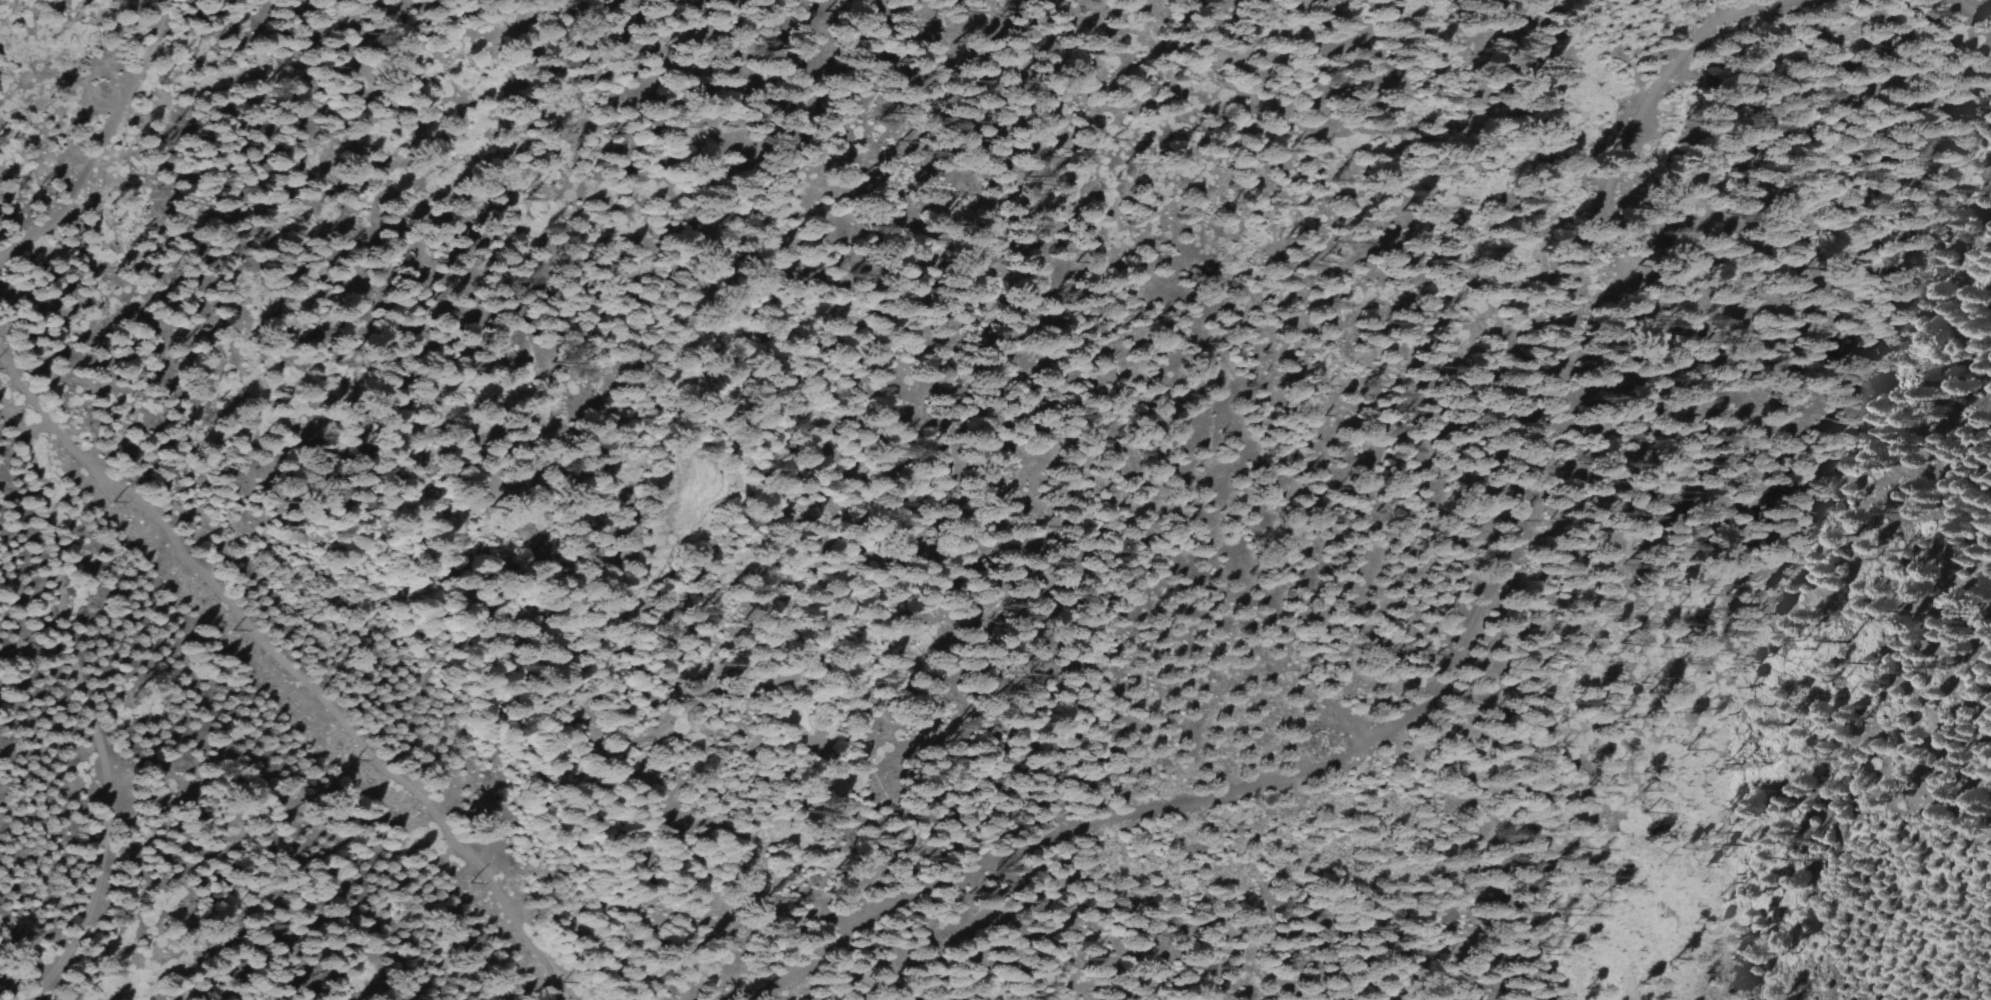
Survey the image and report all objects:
road: (1756, 8)
road: (1971, 16)
road: (118, 186)
power tower: (104, 499)
power tower: (217, 631)
road: (97, 678)
power tower: (345, 756)
power tower: (456, 883)
power tower: (554, 977)

